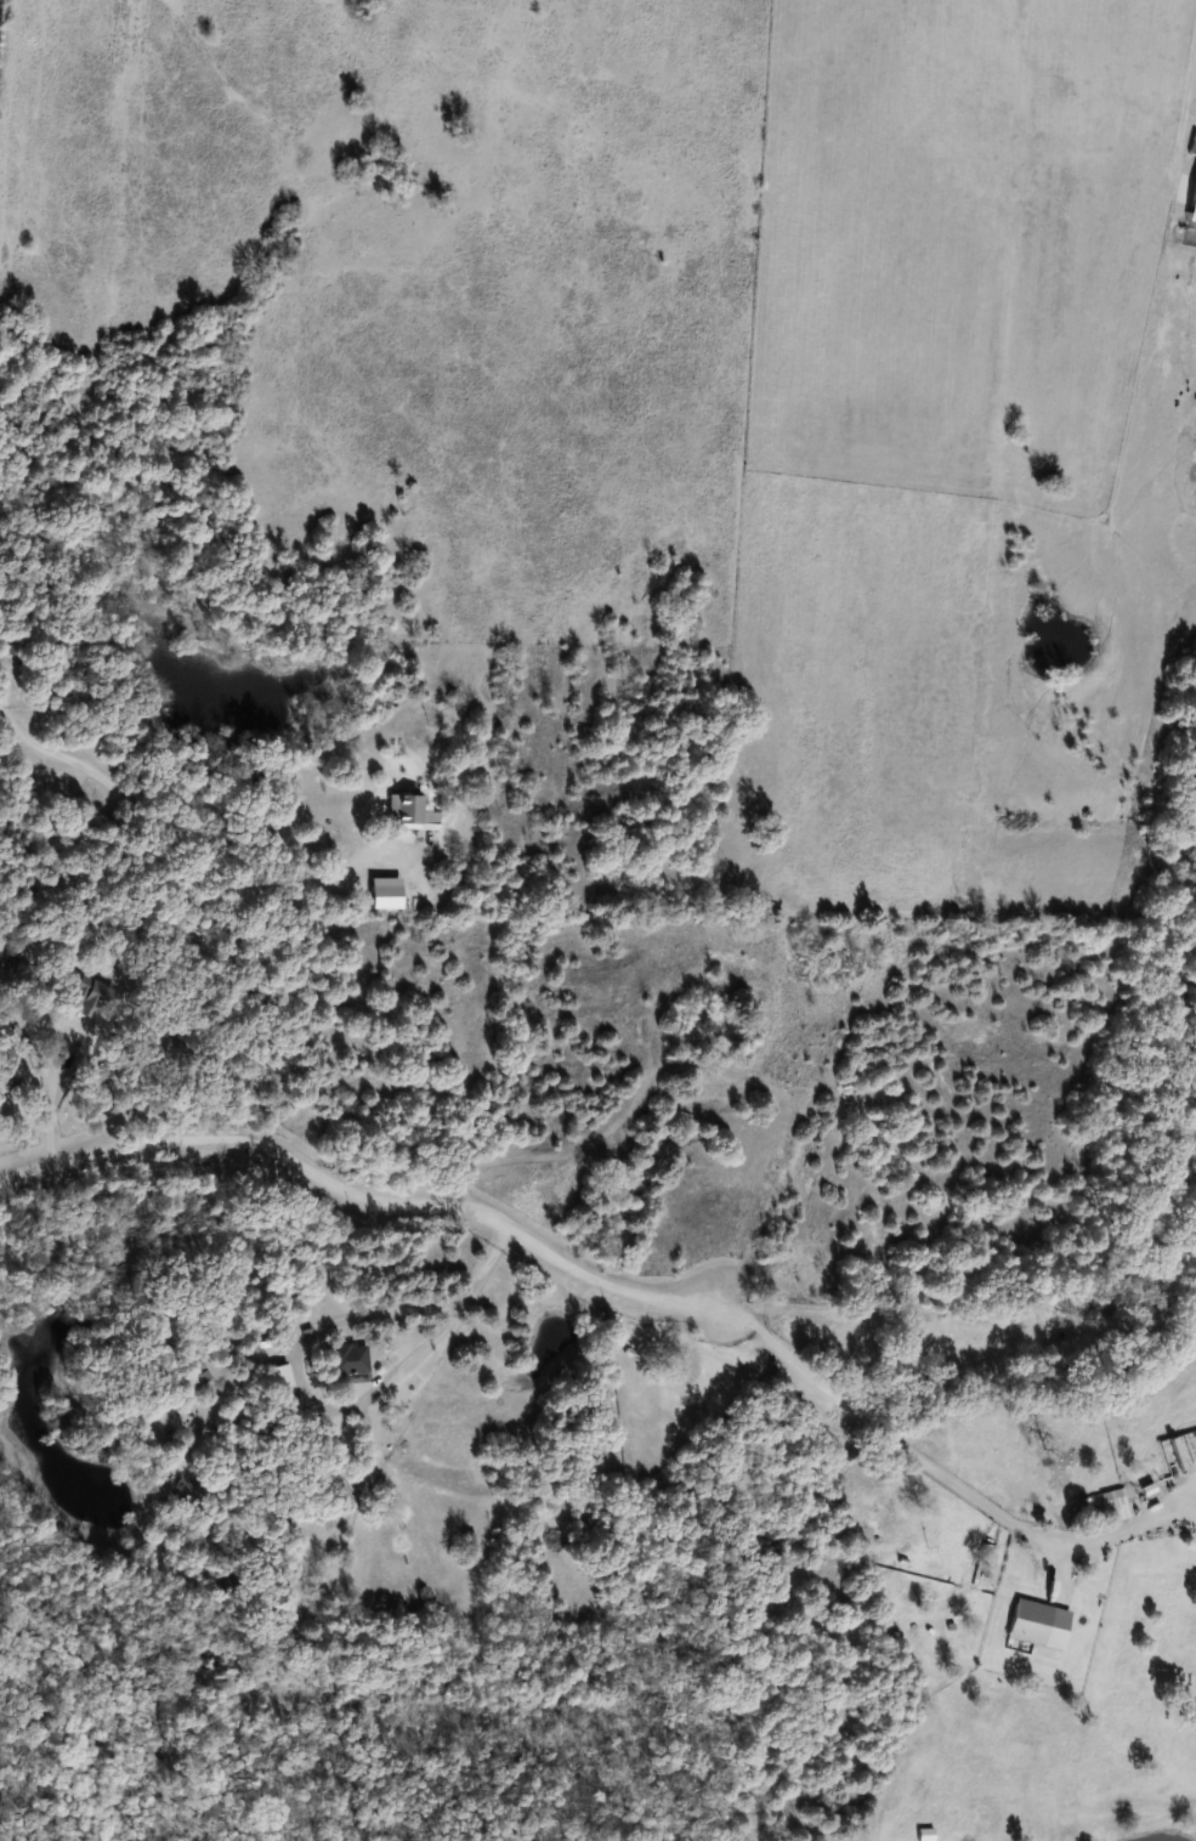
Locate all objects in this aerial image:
road: (1190, 117)
road: (57, 753)
building: (409, 814)
building: (84, 997)
road: (358, 1200)
road: (954, 1315)
building: (347, 1364)
building: (280, 1378)
road: (341, 1400)
building: (1112, 1503)
building: (1038, 1625)

